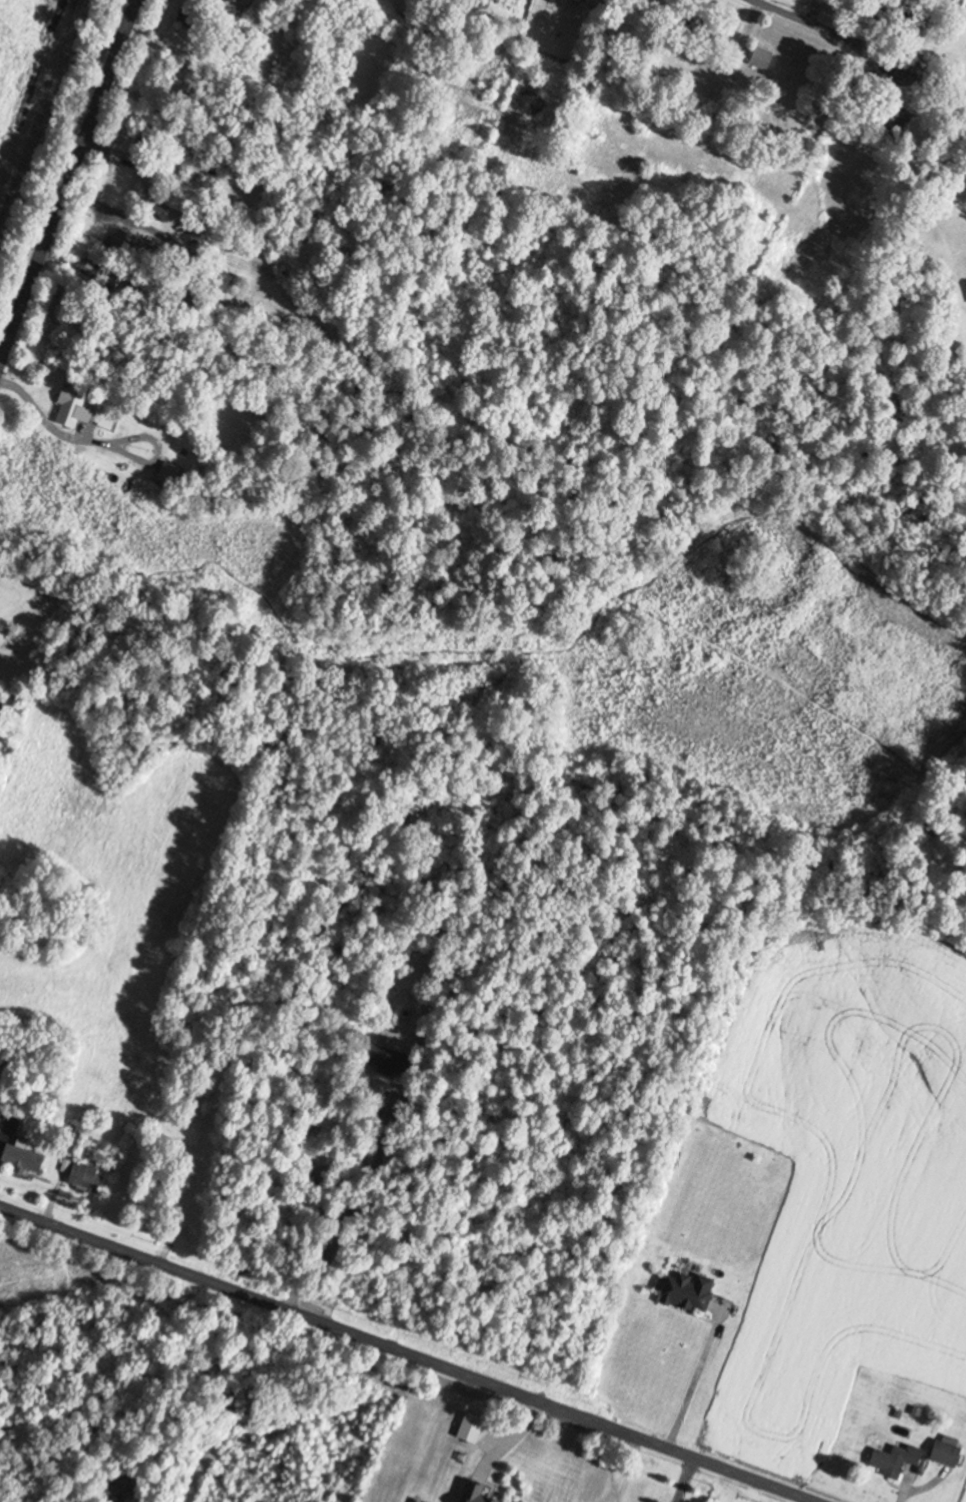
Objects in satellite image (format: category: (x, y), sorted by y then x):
road: (841, 33)
road: (422, 34)
road: (67, 176)
road: (411, 1352)

